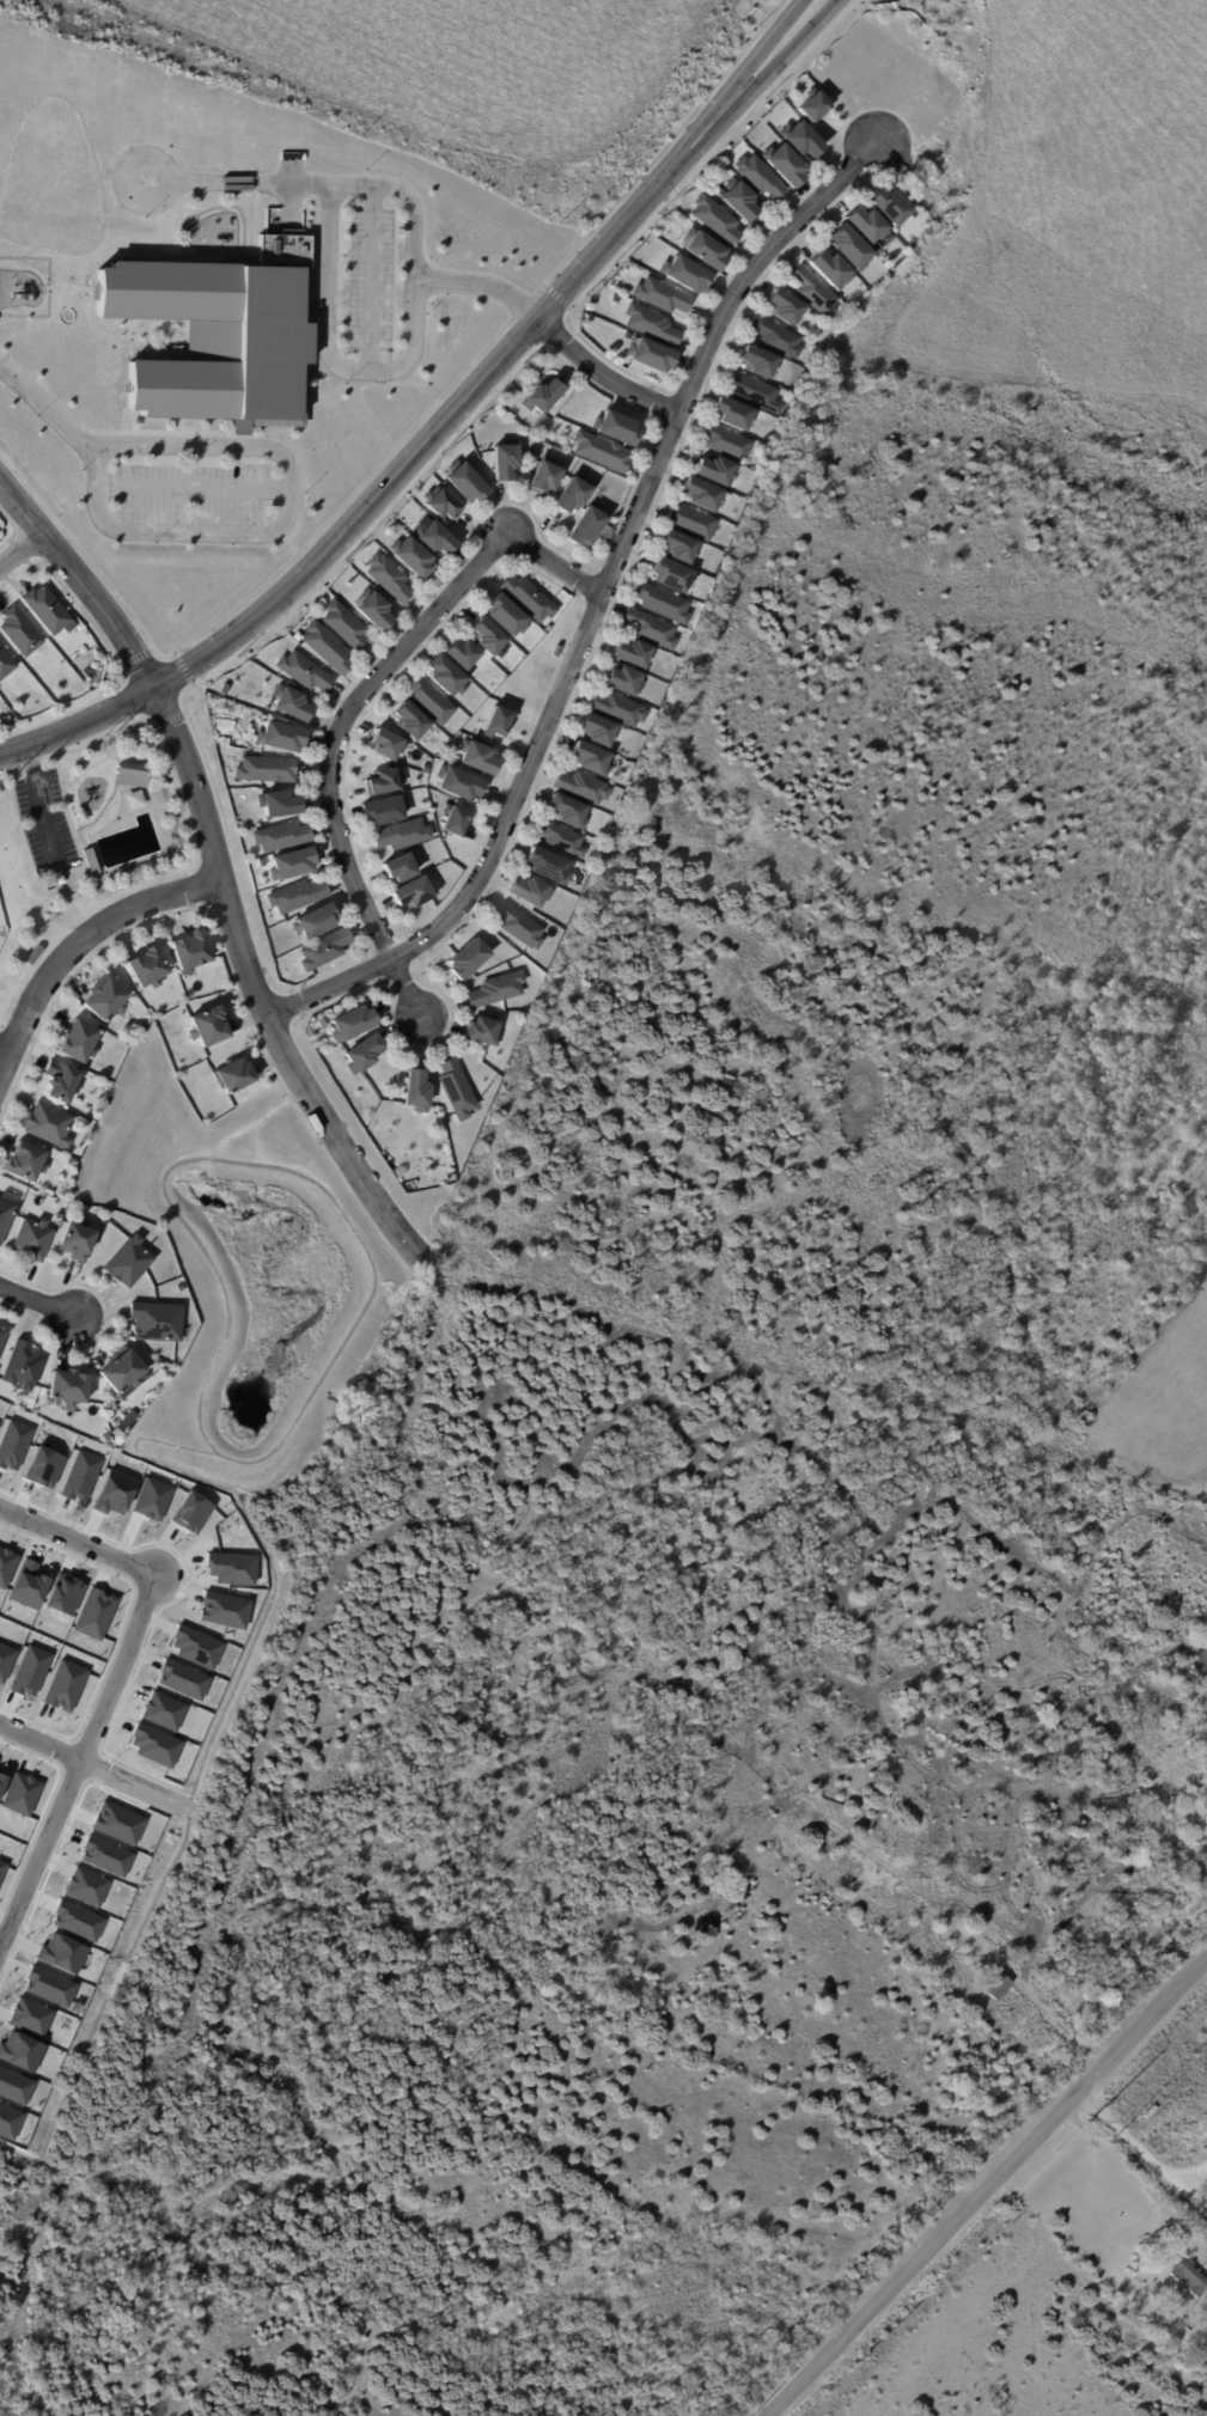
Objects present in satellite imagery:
park: (452, 66)
building: (813, 105)
building: (805, 140)
building: (787, 165)
building: (761, 178)
road: (319, 183)
building: (742, 200)
building: (886, 207)
building: (718, 219)
building: (862, 224)
building: (846, 248)
building: (878, 248)
building: (706, 249)
building: (825, 268)
building: (689, 275)
parking lot: (370, 276)
road: (372, 277)
road: (480, 281)
building: (810, 292)
building: (658, 294)
building: (781, 306)
building: (653, 325)
building: (773, 337)
building: (219, 340)
road: (331, 354)
building: (653, 355)
building: (752, 360)
road: (601, 373)
building: (751, 391)
building: (543, 396)
road: (43, 404)
building: (727, 413)
road: (443, 421)
building: (618, 428)
building: (726, 444)
building: (604, 452)
building: (506, 460)
building: (714, 469)
building: (547, 476)
building: (468, 482)
road: (194, 486)
parking lot: (193, 494)
building: (703, 494)
building: (573, 495)
building: (440, 502)
road: (285, 523)
building: (694, 523)
building: (587, 527)
building: (438, 537)
building: (678, 545)
road: (20, 550)
building: (414, 556)
building: (670, 573)
building: (390, 579)
building: (530, 599)
building: (664, 603)
building: (47, 610)
building: (376, 610)
road: (597, 610)
building: (507, 616)
building: (347, 627)
building: (549, 629)
building: (653, 629)
building: (20, 633)
building: (298, 636)
building: (487, 637)
building: (329, 648)
building: (556, 652)
building: (633, 653)
building: (464, 654)
building: (6, 664)
building: (305, 672)
building: (447, 676)
building: (624, 681)
building: (292, 702)
road: (355, 702)
building: (432, 702)
building: (620, 709)
building: (412, 721)
building: (498, 722)
building: (597, 730)
building: (282, 738)
building: (226, 740)
building: (386, 746)
building: (234, 750)
building: (478, 757)
building: (591, 758)
building: (626, 763)
building: (426, 769)
building: (268, 770)
building: (134, 776)
building: (459, 782)
building: (386, 783)
building: (429, 786)
building: (584, 788)
building: (136, 801)
road: (37, 805)
building: (280, 805)
building: (568, 810)
building: (384, 812)
building: (455, 818)
building: (604, 822)
parking lot: (44, 823)
building: (403, 836)
park: (83, 837)
building: (284, 837)
building: (563, 841)
building: (92, 862)
building: (263, 864)
building: (543, 864)
building: (294, 866)
building: (401, 868)
road: (215, 871)
building: (531, 891)
building: (414, 895)
building: (299, 897)
building: (317, 921)
building: (522, 928)
road: (79, 944)
building: (327, 951)
building: (193, 952)
building: (36, 956)
building: (470, 958)
building: (150, 966)
building: (499, 990)
building: (106, 999)
building: (354, 1024)
building: (209, 1027)
building: (483, 1033)
building: (79, 1041)
road: (5, 1050)
building: (364, 1055)
building: (236, 1074)
building: (62, 1081)
building: (457, 1091)
building: (419, 1092)
building: (49, 1124)
building: (29, 1161)
building: (73, 1163)
building: (23, 1190)
building: (6, 1218)
building: (33, 1238)
building: (78, 1239)
building: (130, 1262)
road: (39, 1301)
building: (159, 1322)
building: (4, 1338)
building: (24, 1366)
building: (123, 1371)
building: (69, 1387)
building: (127, 1423)
building: (13, 1442)
building: (43, 1466)
building: (80, 1476)
building: (115, 1491)
building: (152, 1497)
building: (191, 1512)
road: (77, 1542)
building: (6, 1566)
building: (232, 1568)
building: (28, 1585)
building: (63, 1594)
building: (224, 1610)
building: (95, 1613)
building: (196, 1647)
building: (5, 1660)
building: (29, 1671)
building: (183, 1679)
building: (65, 1685)
building: (163, 1710)
building: (154, 1744)
road: (80, 1757)
road: (93, 1765)
building: (2, 1781)
building: (20, 1793)
building: (118, 1823)
building: (105, 1856)
building: (2, 1867)
building: (86, 1886)
building: (78, 1921)
building: (61, 1953)
building: (48, 1987)
building: (998, 1988)
building: (29, 2017)
building: (19, 2051)
building: (13, 2086)
building: (8, 2122)
road: (1120, 2130)
road: (1187, 2167)
road: (1130, 2177)
road: (983, 2182)
road: (1187, 2186)
building: (1188, 2277)

